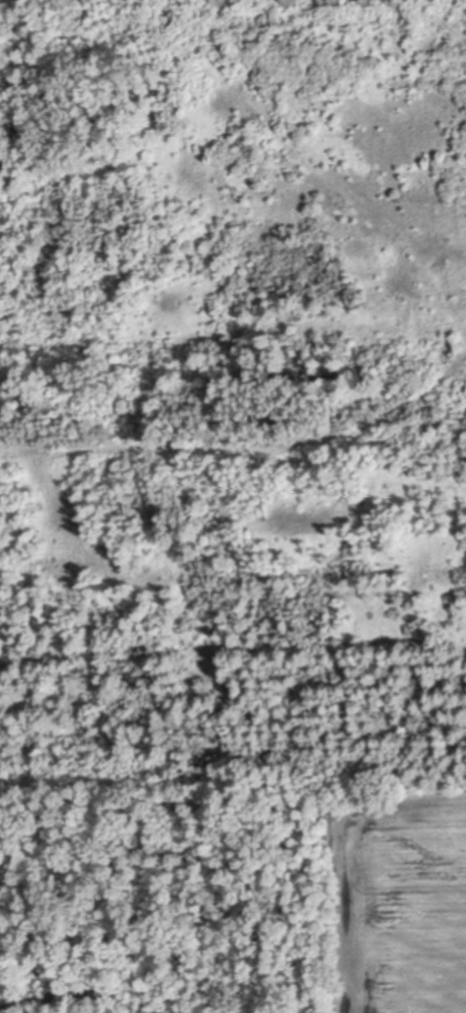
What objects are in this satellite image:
road: (81, 989)

